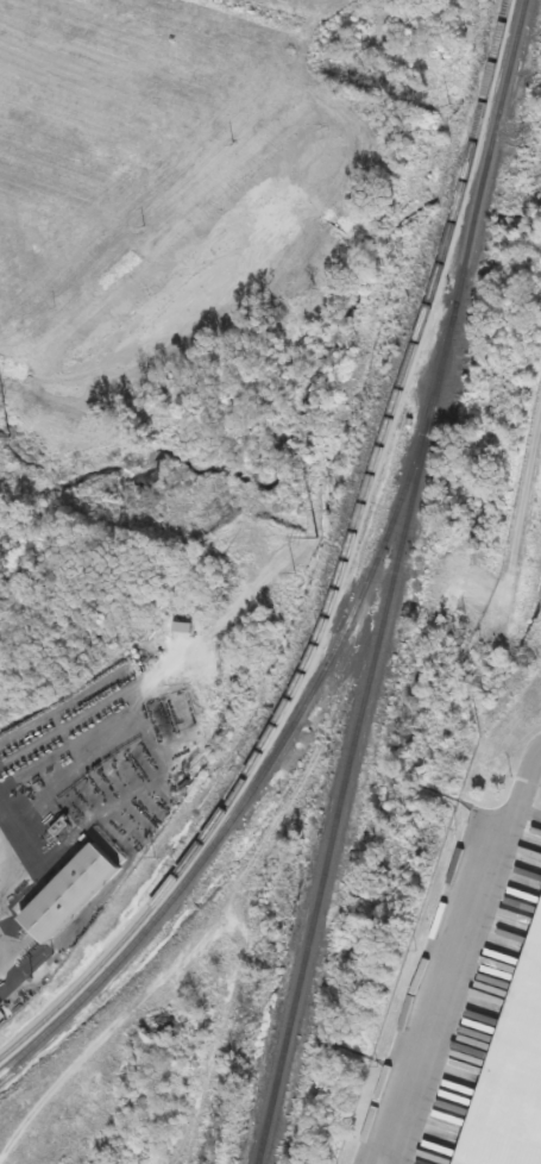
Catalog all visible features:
power tower: (12, 437)
railway: (341, 575)
power tower: (438, 576)
railway: (394, 581)
railway: (296, 727)
road: (465, 958)
building: (512, 1081)

